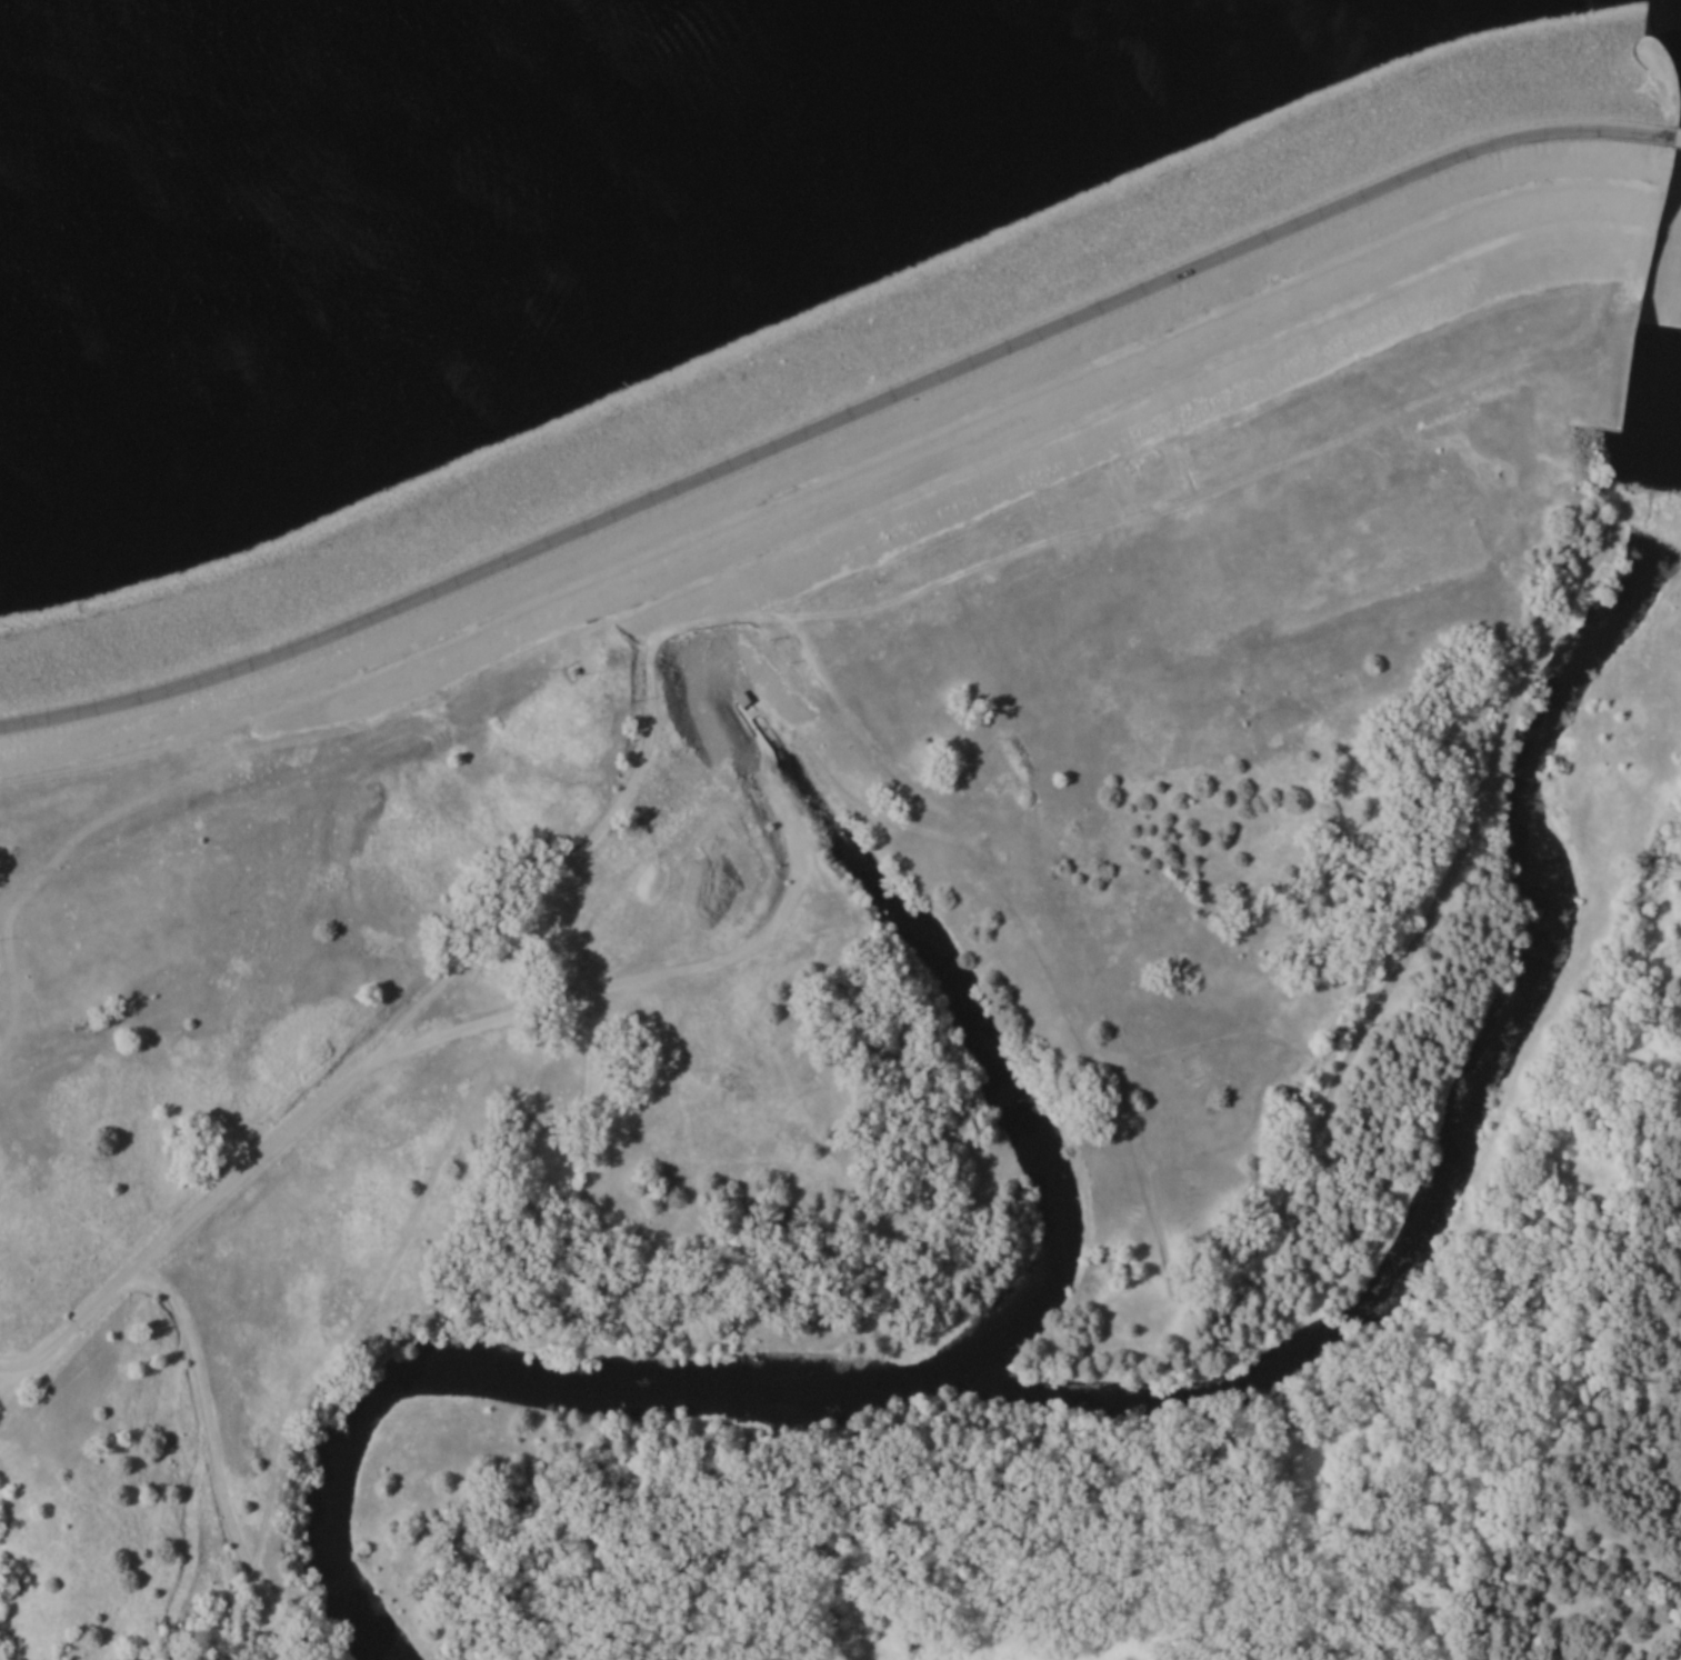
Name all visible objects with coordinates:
dam: (819, 302)
road: (839, 404)
river: (666, 567)
building: (740, 699)
park: (840, 830)
building: (713, 840)
road: (441, 1038)
river: (902, 1374)
road: (212, 1459)

